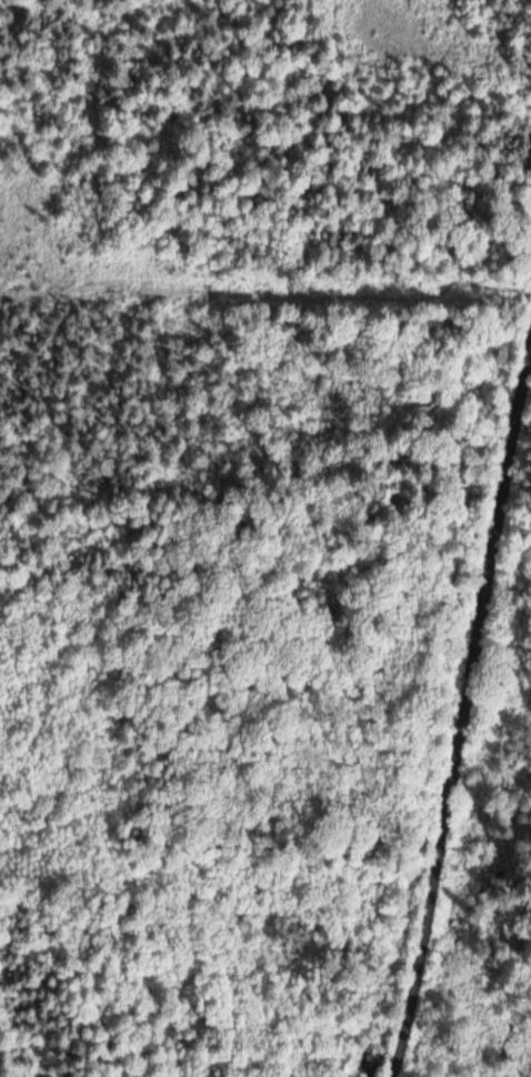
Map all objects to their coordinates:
road: (460, 707)

